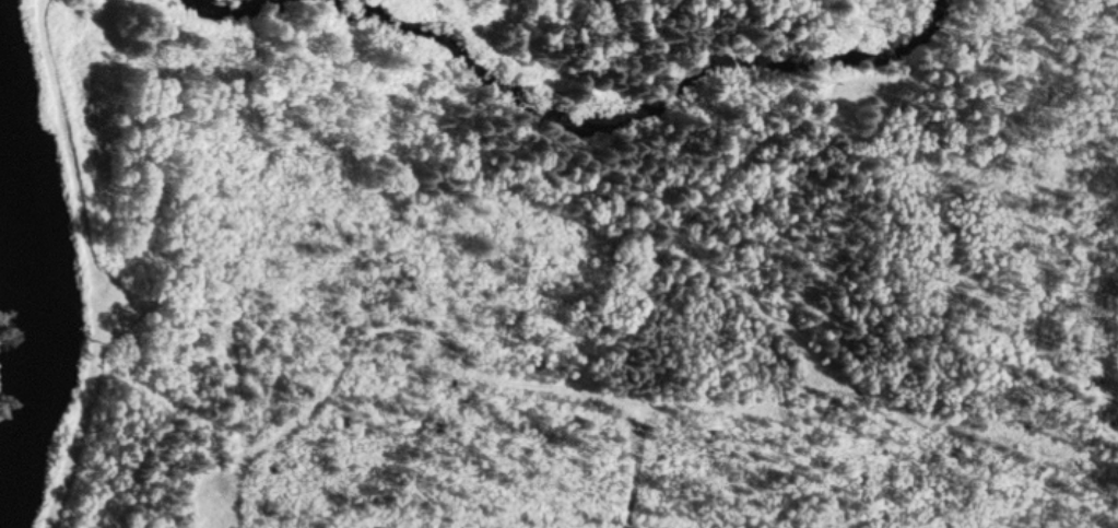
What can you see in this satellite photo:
river: (33, 286)

